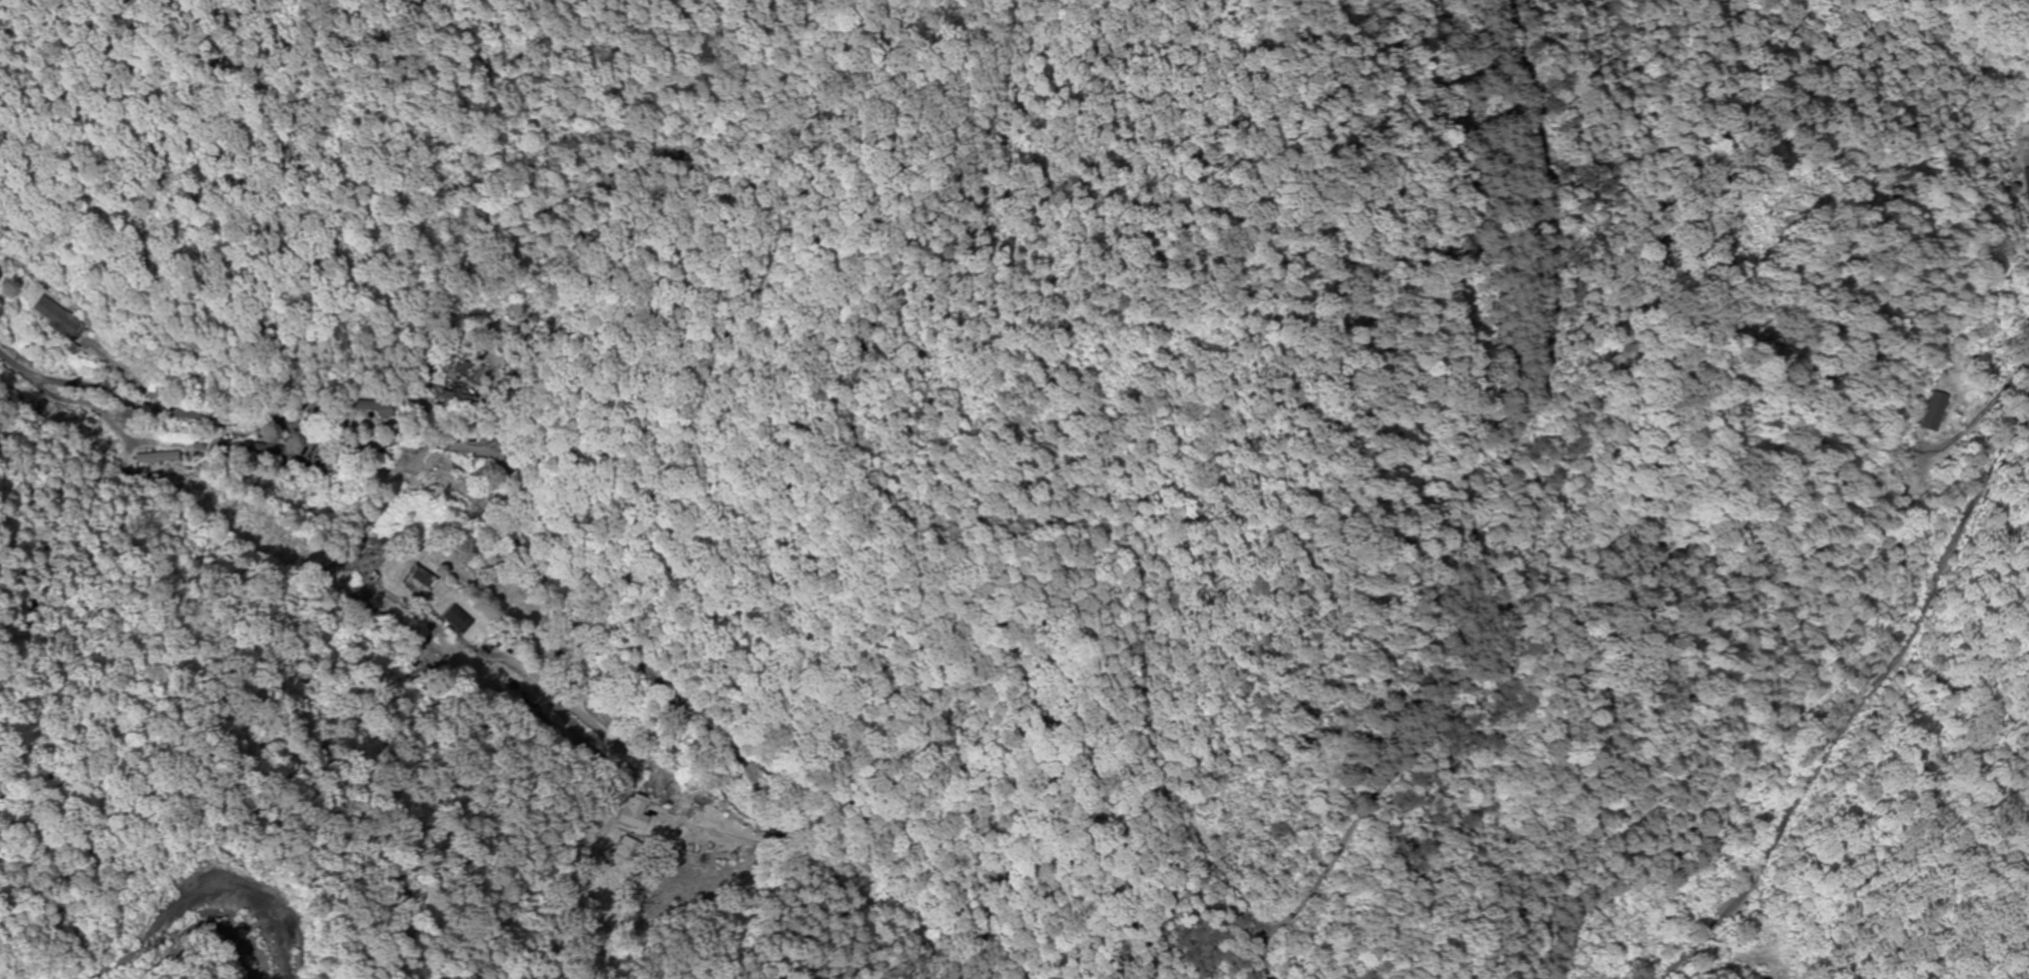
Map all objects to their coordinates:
building: (2026, 188)
building: (58, 318)
building: (1926, 413)
building: (149, 459)
building: (445, 484)
road: (1575, 492)
road: (320, 538)
building: (420, 583)
road: (1862, 698)
road: (786, 857)
road: (202, 878)

